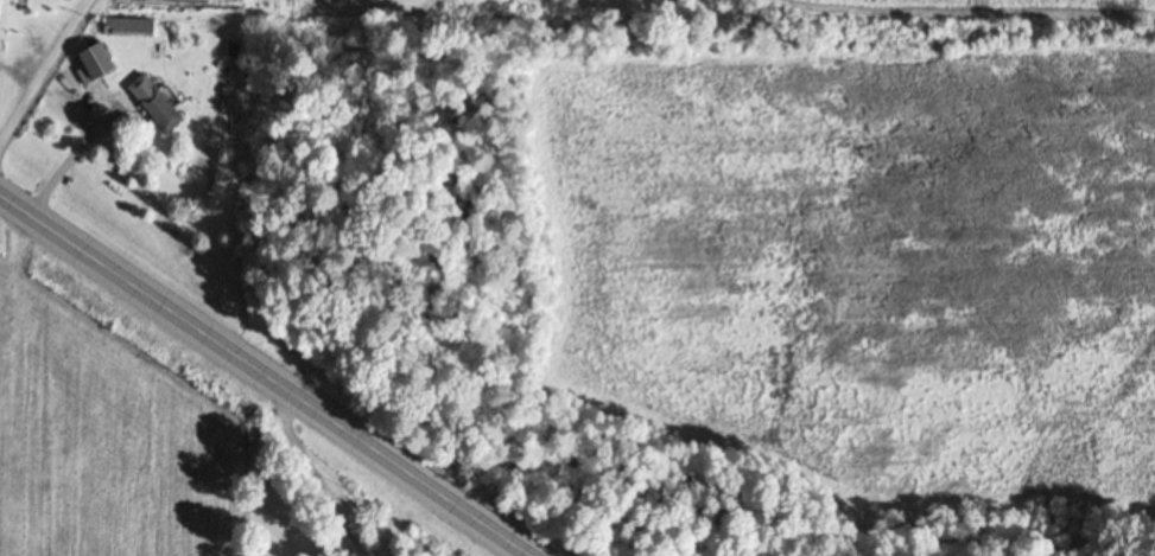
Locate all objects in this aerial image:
building: (97, 65)
building: (157, 103)
road: (269, 375)
road: (311, 475)
road: (442, 522)

